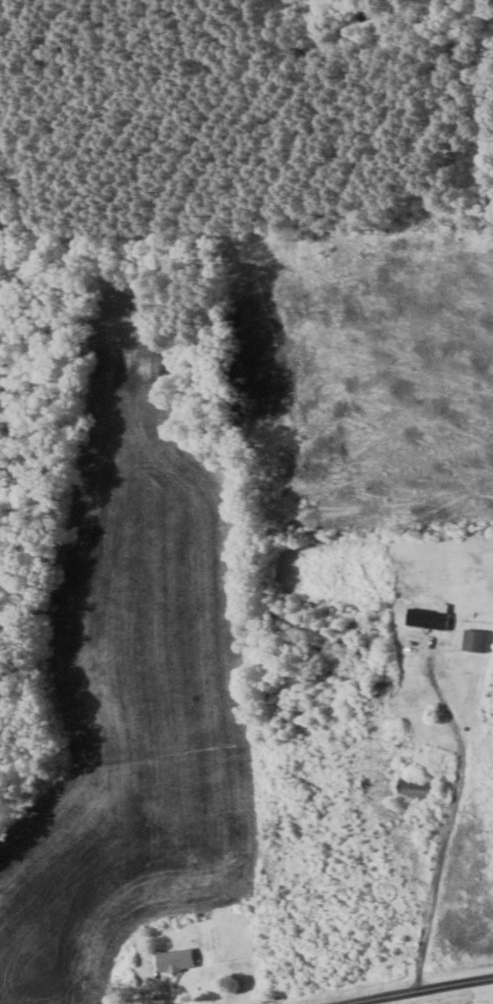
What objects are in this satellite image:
building: (415, 788)
building: (175, 960)
road: (432, 991)

